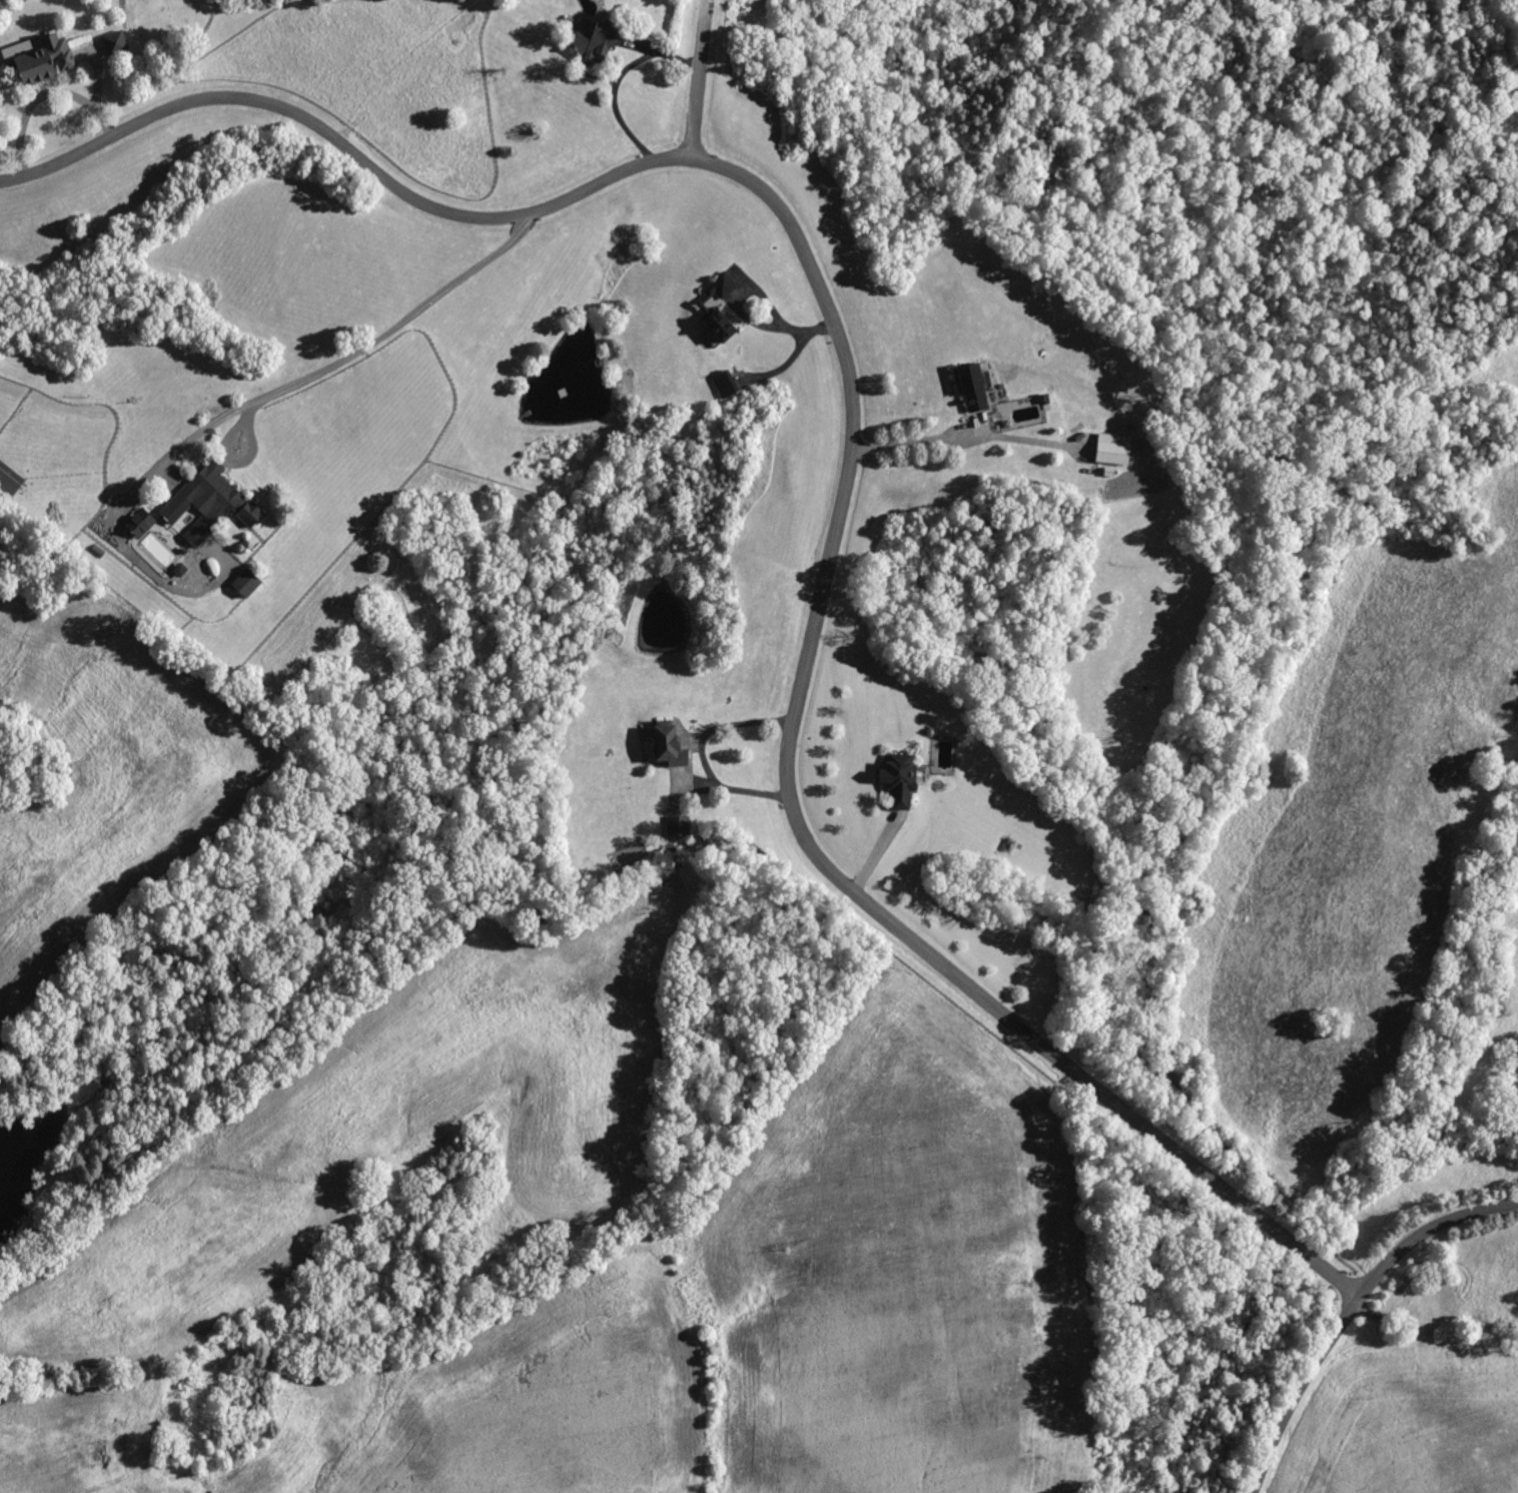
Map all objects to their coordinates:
building: (595, 41)
building: (117, 43)
building: (23, 48)
building: (47, 60)
road: (693, 76)
road: (618, 81)
road: (96, 97)
road: (30, 104)
park: (1164, 175)
building: (703, 307)
road: (396, 327)
building: (726, 384)
building: (972, 387)
building: (1045, 399)
road: (918, 439)
road: (854, 450)
building: (1114, 450)
road: (164, 461)
building: (10, 480)
building: (224, 501)
building: (185, 550)
building: (180, 570)
building: (248, 583)
building: (669, 744)
road: (696, 744)
building: (900, 779)
building: (680, 826)
road: (1351, 1311)
building: (1424, 1312)
building: (1499, 1327)
building: (203, 1380)
building: (168, 1449)

